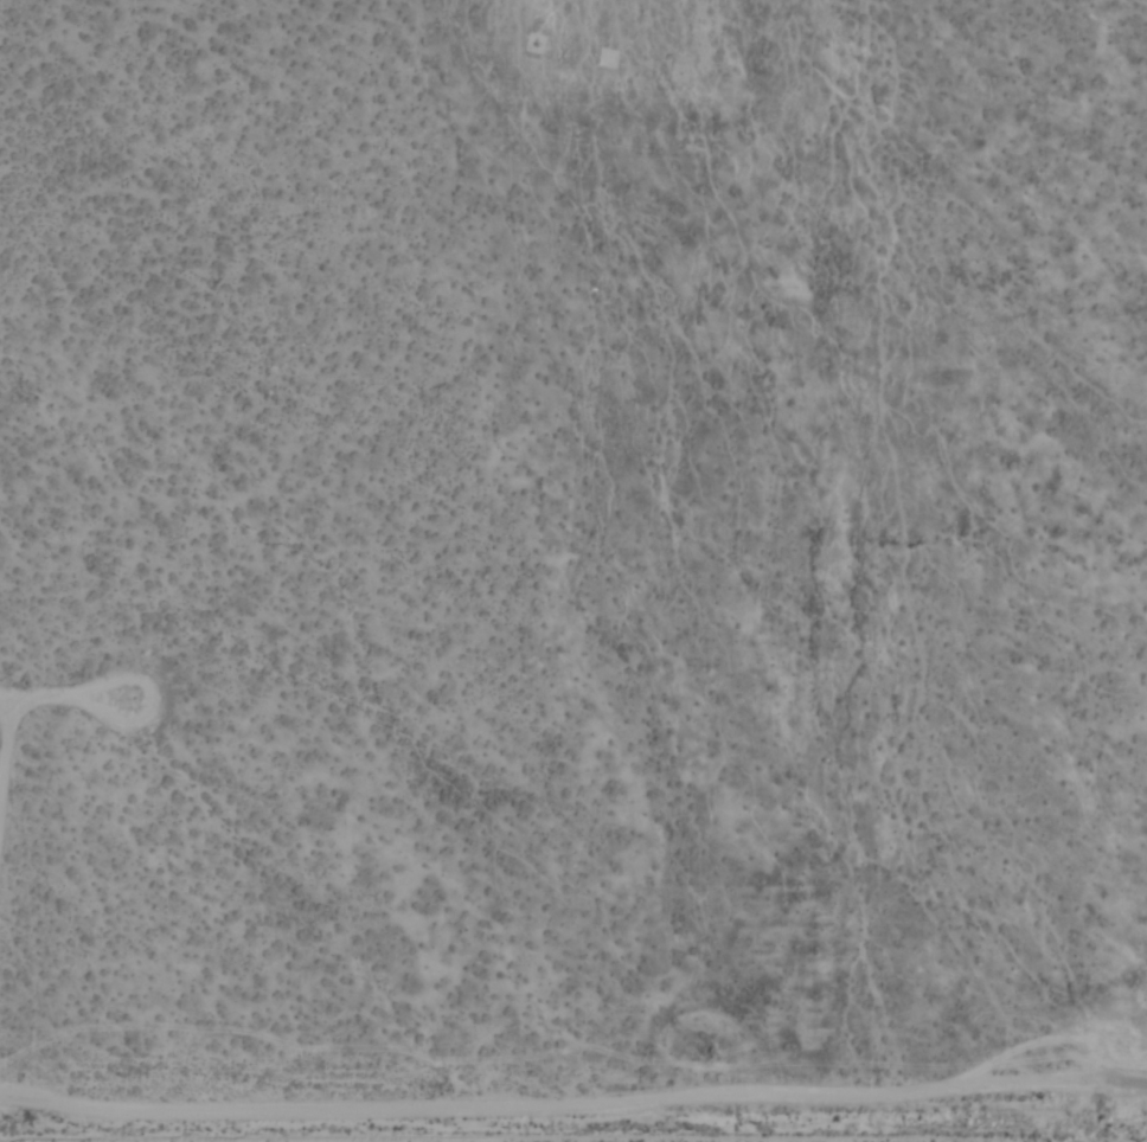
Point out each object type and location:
airport: (573, 571)
road: (1129, 995)
road: (571, 1109)

